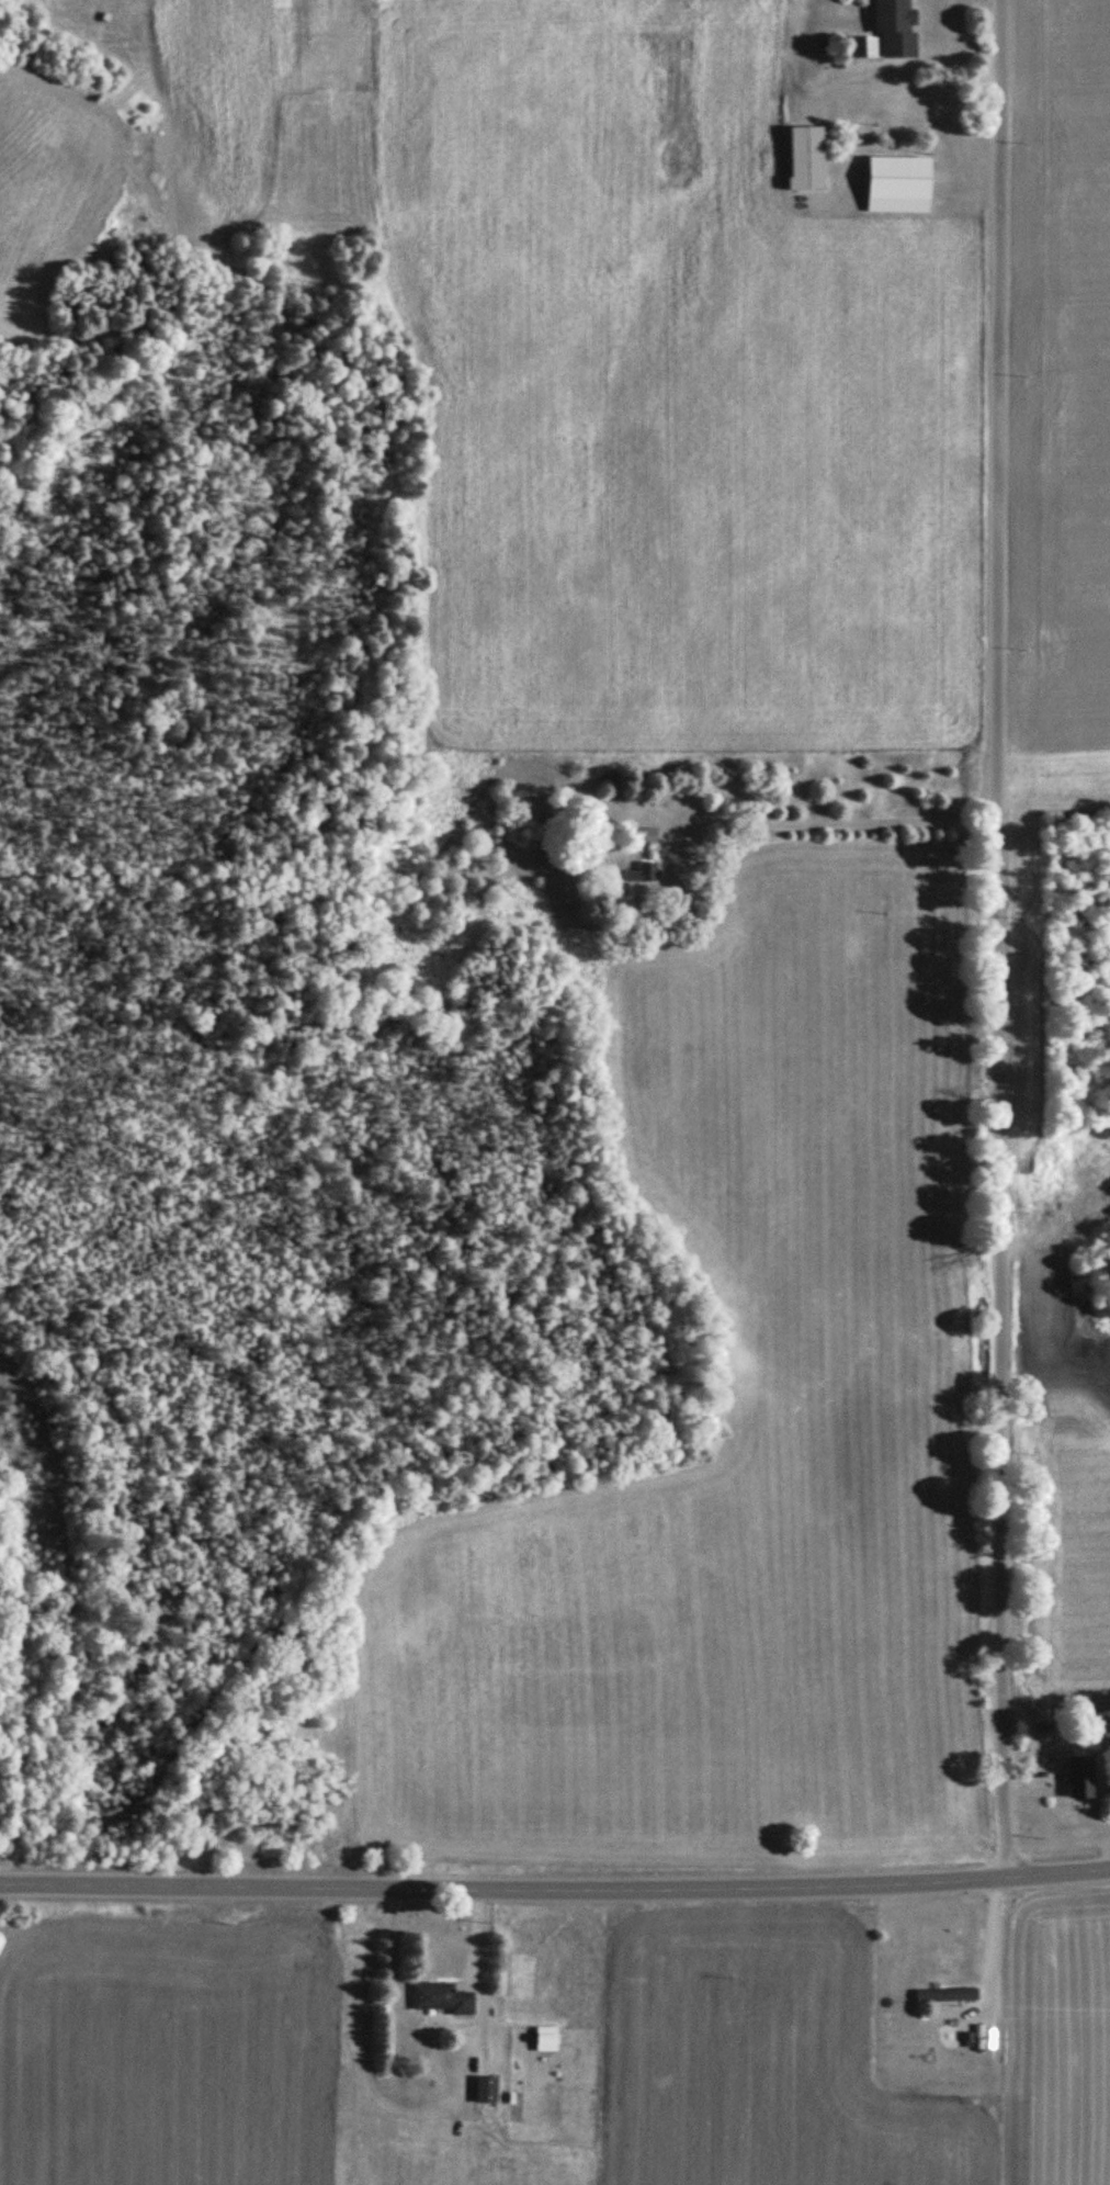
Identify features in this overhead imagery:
building: (895, 27)
building: (864, 47)
building: (897, 178)
building: (646, 834)
building: (643, 872)
road: (999, 938)
park: (0, 1536)
building: (1081, 1775)
road: (555, 1885)
building: (949, 1994)
building: (442, 1998)
building: (486, 2088)

